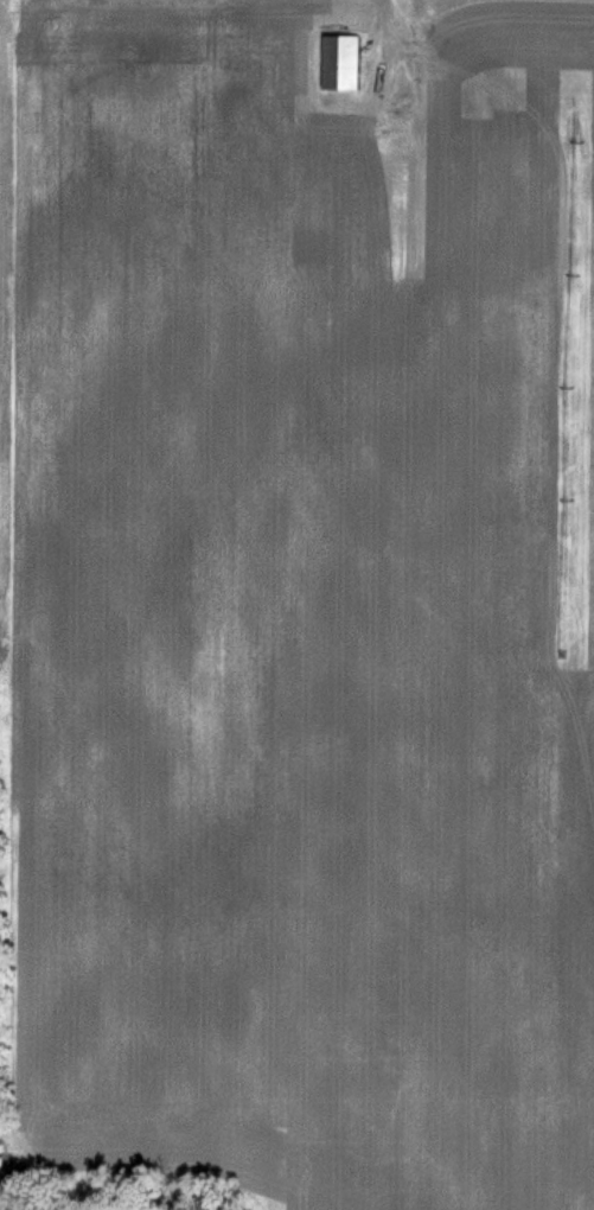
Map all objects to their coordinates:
building: (350, 62)

